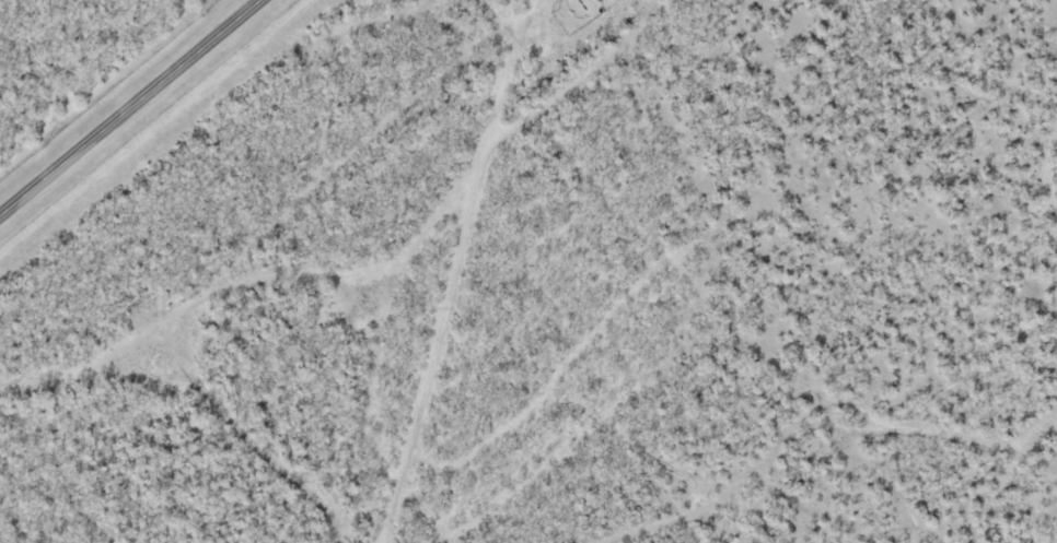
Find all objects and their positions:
road: (132, 110)

